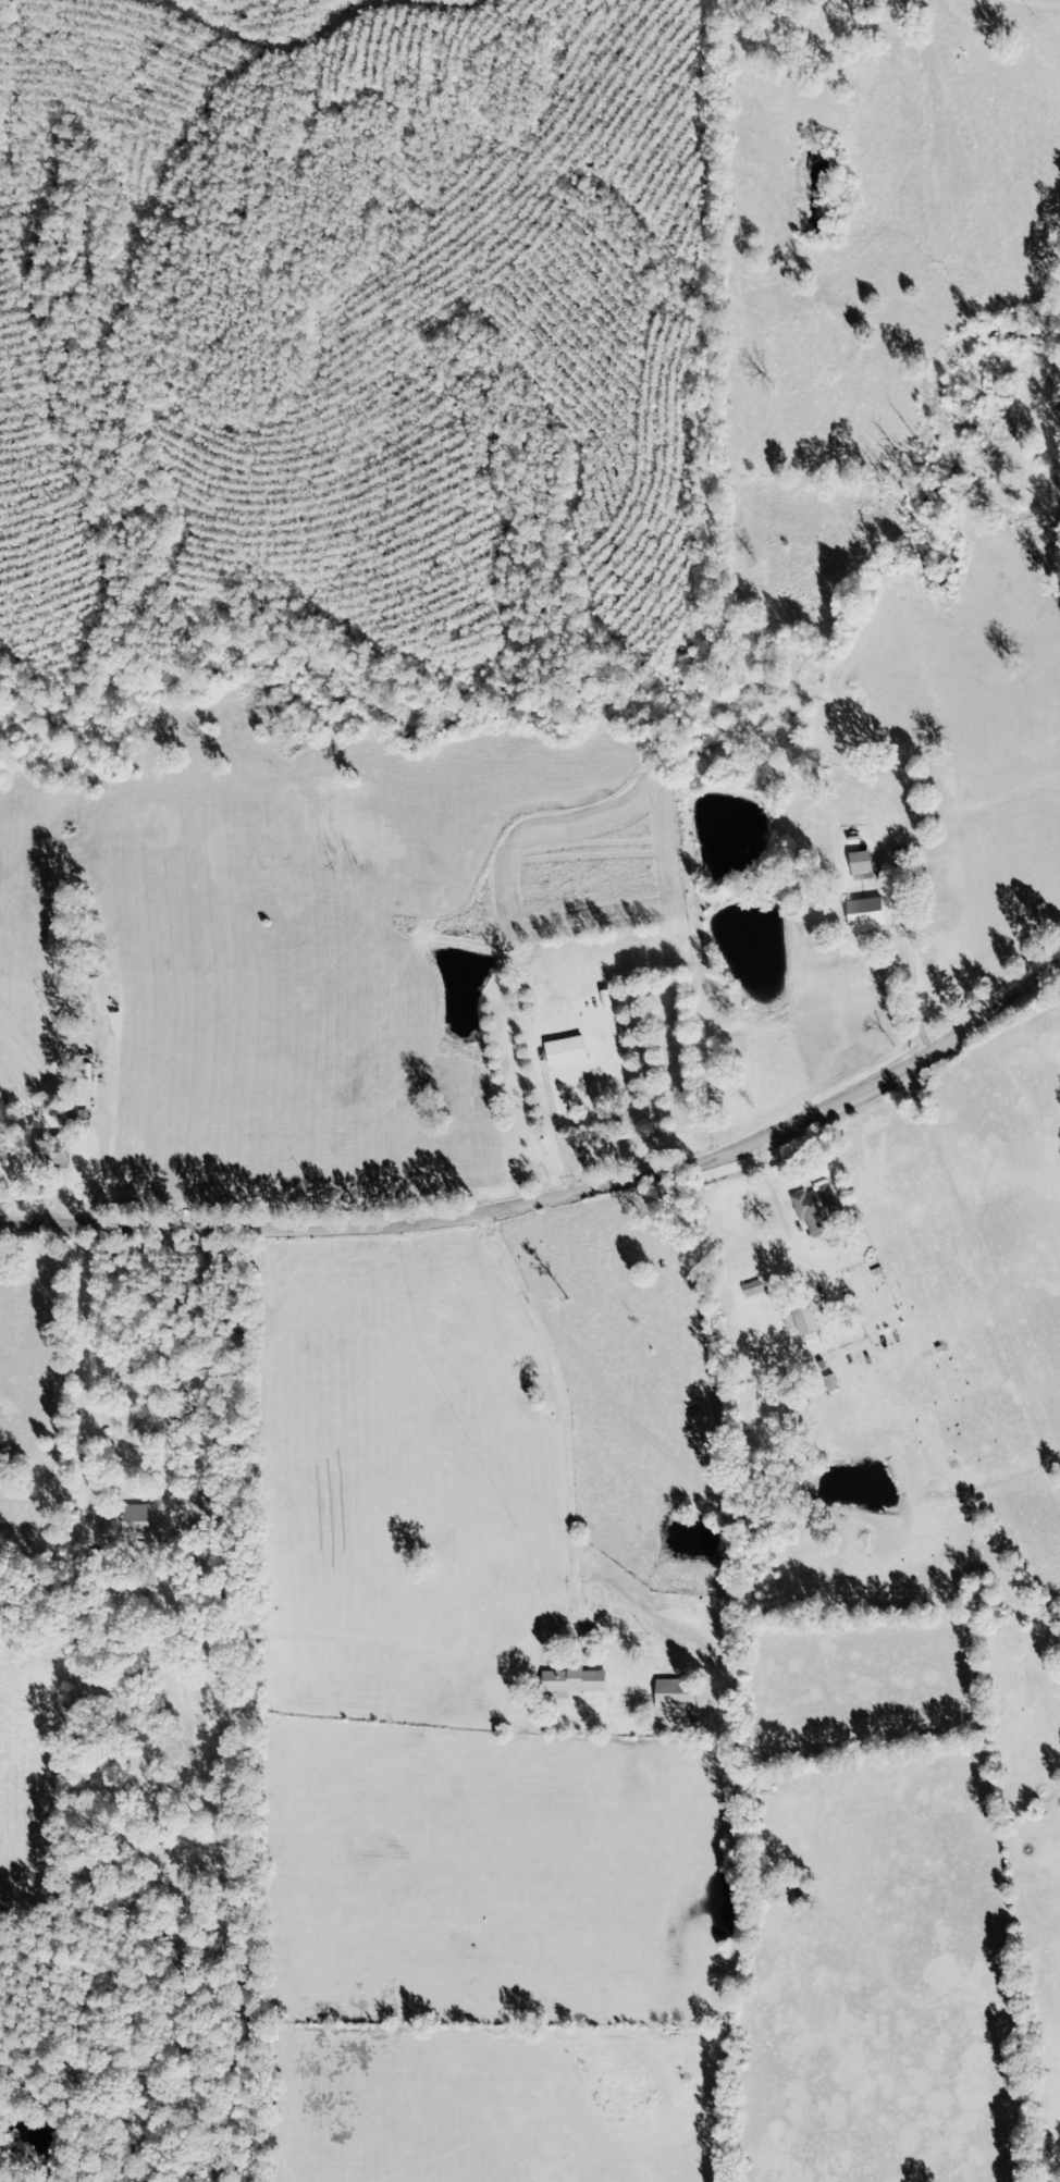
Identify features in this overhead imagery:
building: (860, 863)
building: (861, 912)
building: (398, 929)
road: (916, 974)
building: (567, 1051)
road: (554, 1129)
building: (52, 1152)
road: (559, 1197)
building: (815, 1209)
building: (751, 1287)
building: (802, 1321)
road: (644, 1458)
building: (210, 1502)
building: (140, 1521)
building: (574, 1681)
building: (676, 1698)

